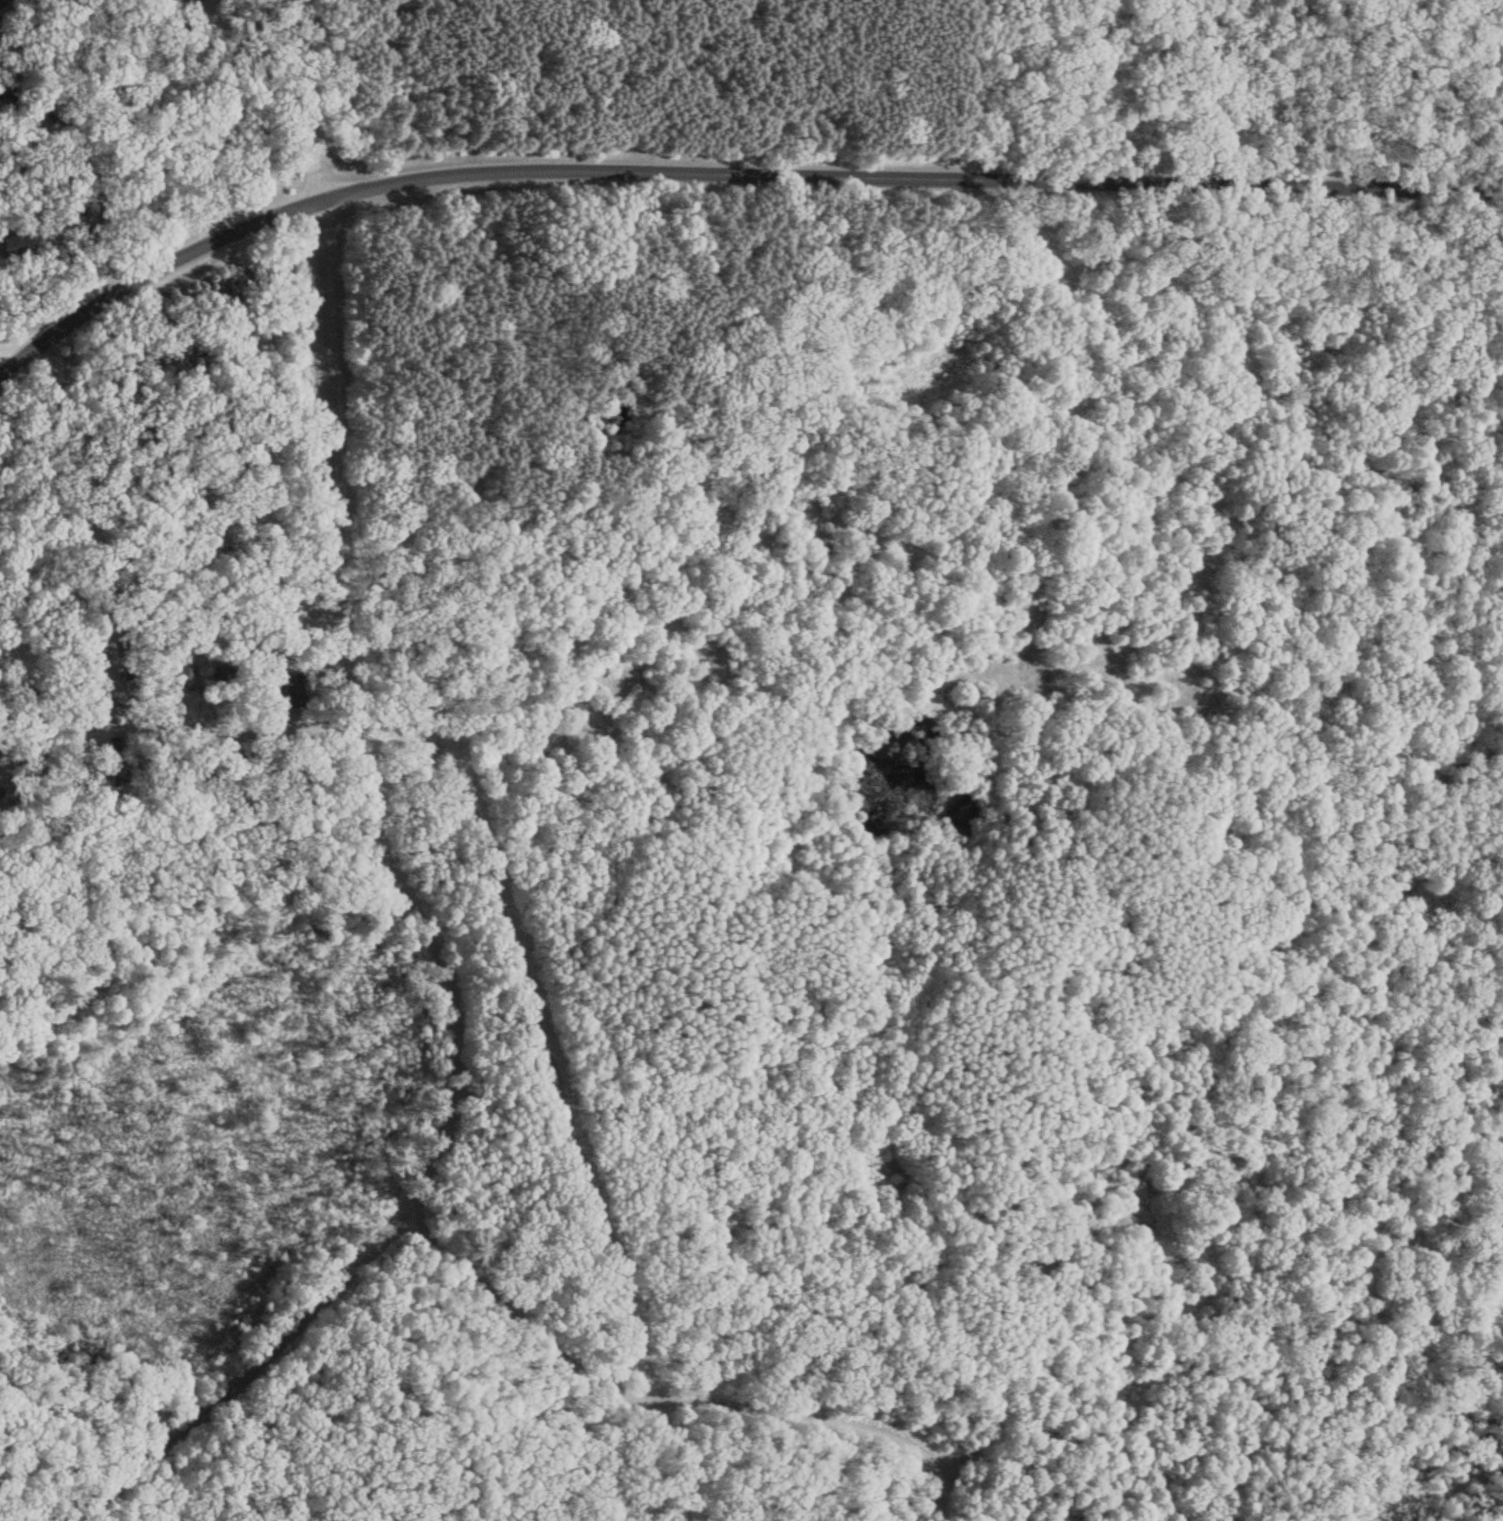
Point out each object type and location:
road: (727, 140)
building: (14, 244)
road: (173, 693)
road: (390, 854)
road: (1176, 1079)
road: (641, 1366)
road: (78, 1376)
road: (935, 1483)

